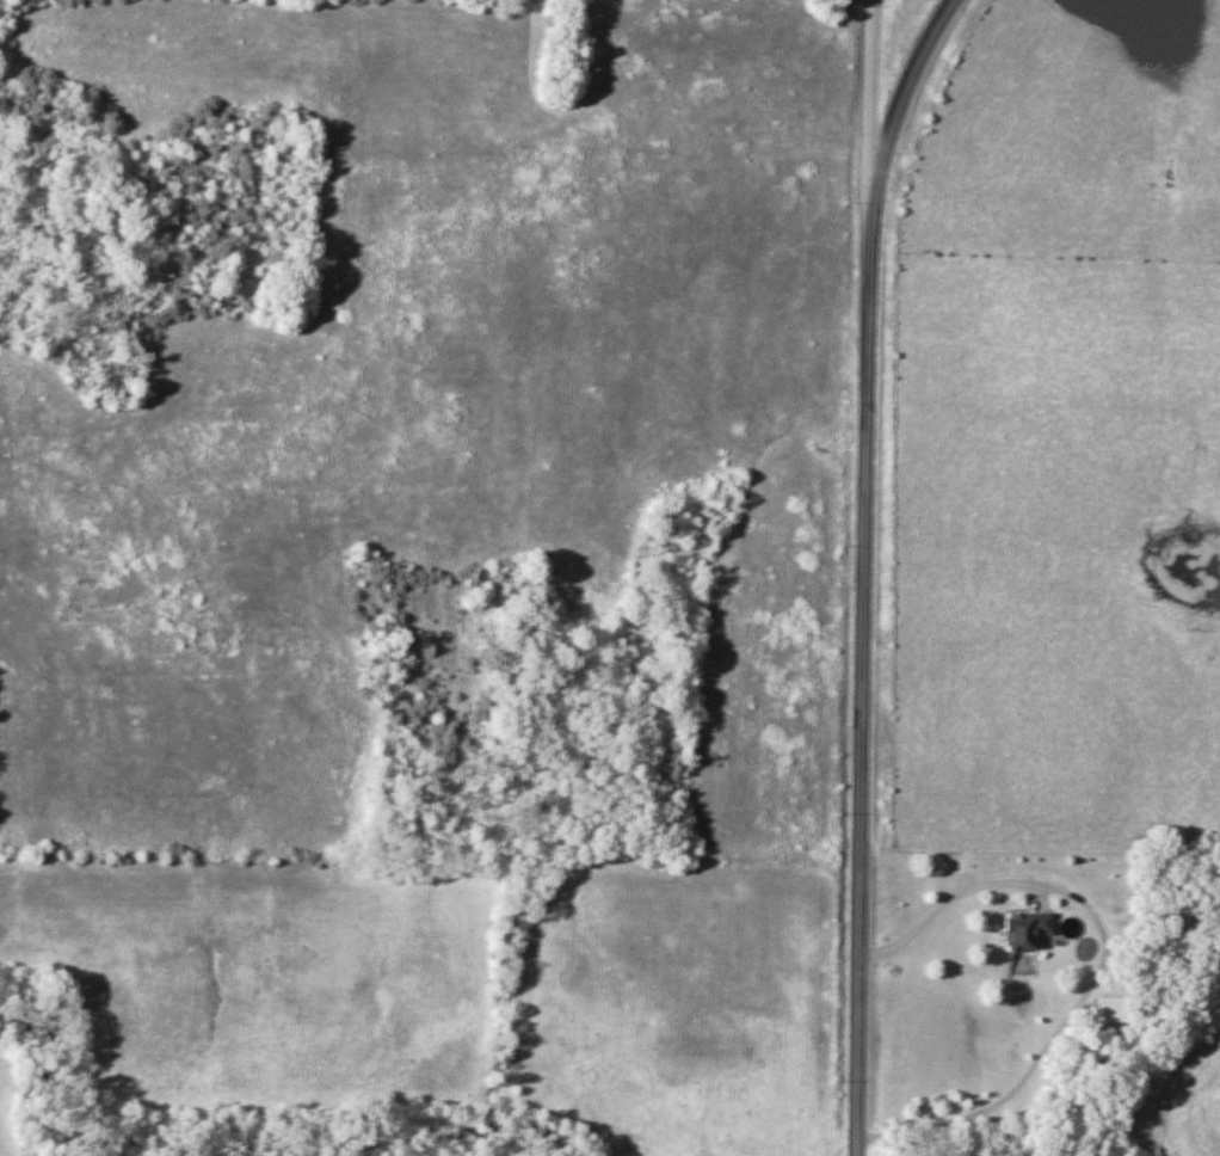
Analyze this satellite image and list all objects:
road: (898, 117)
road: (869, 122)
road: (862, 700)
building: (1021, 929)
road: (1099, 964)
building: (1113, 1009)

